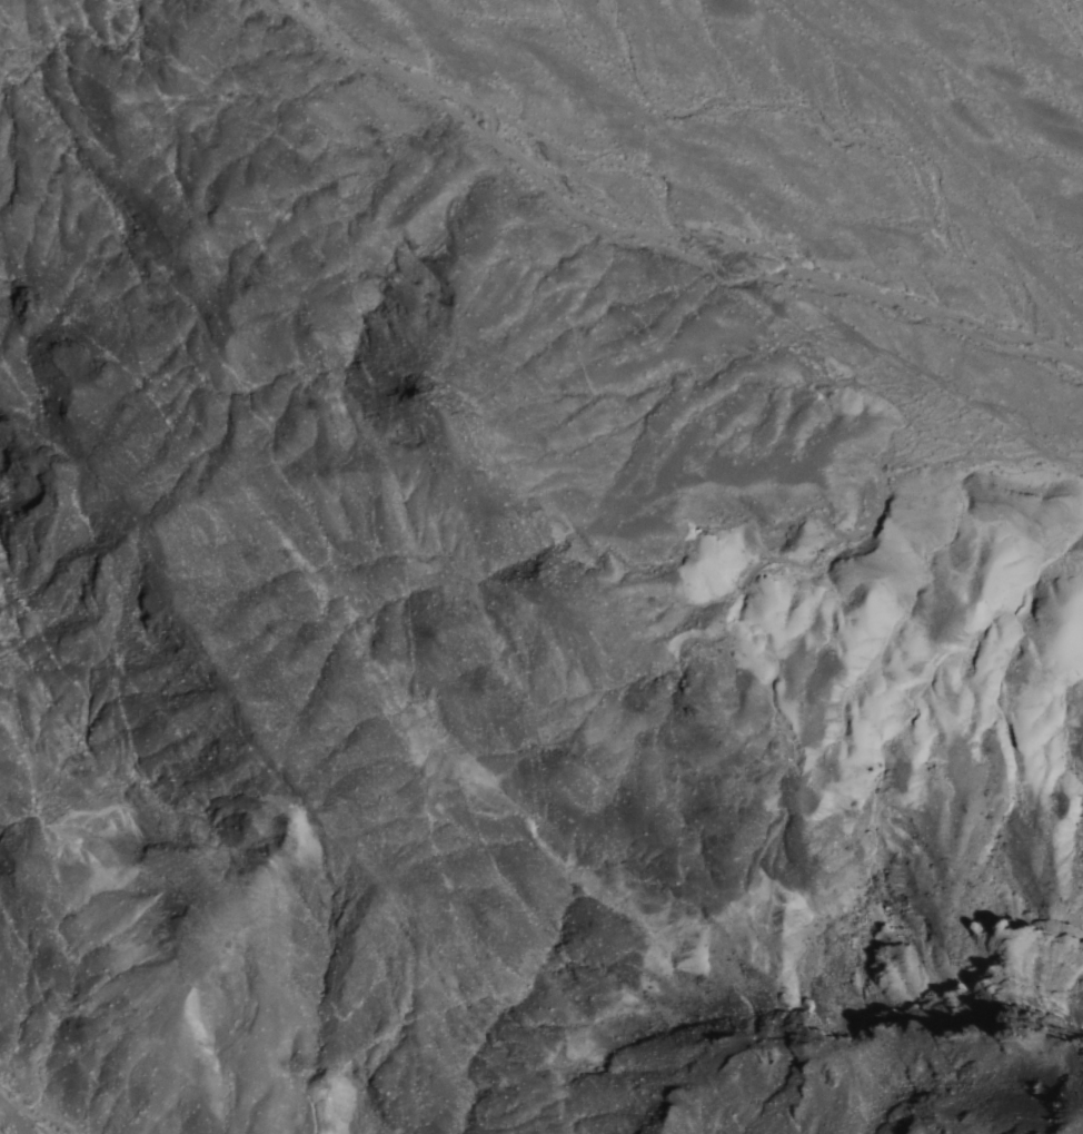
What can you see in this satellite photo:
road: (872, 164)

